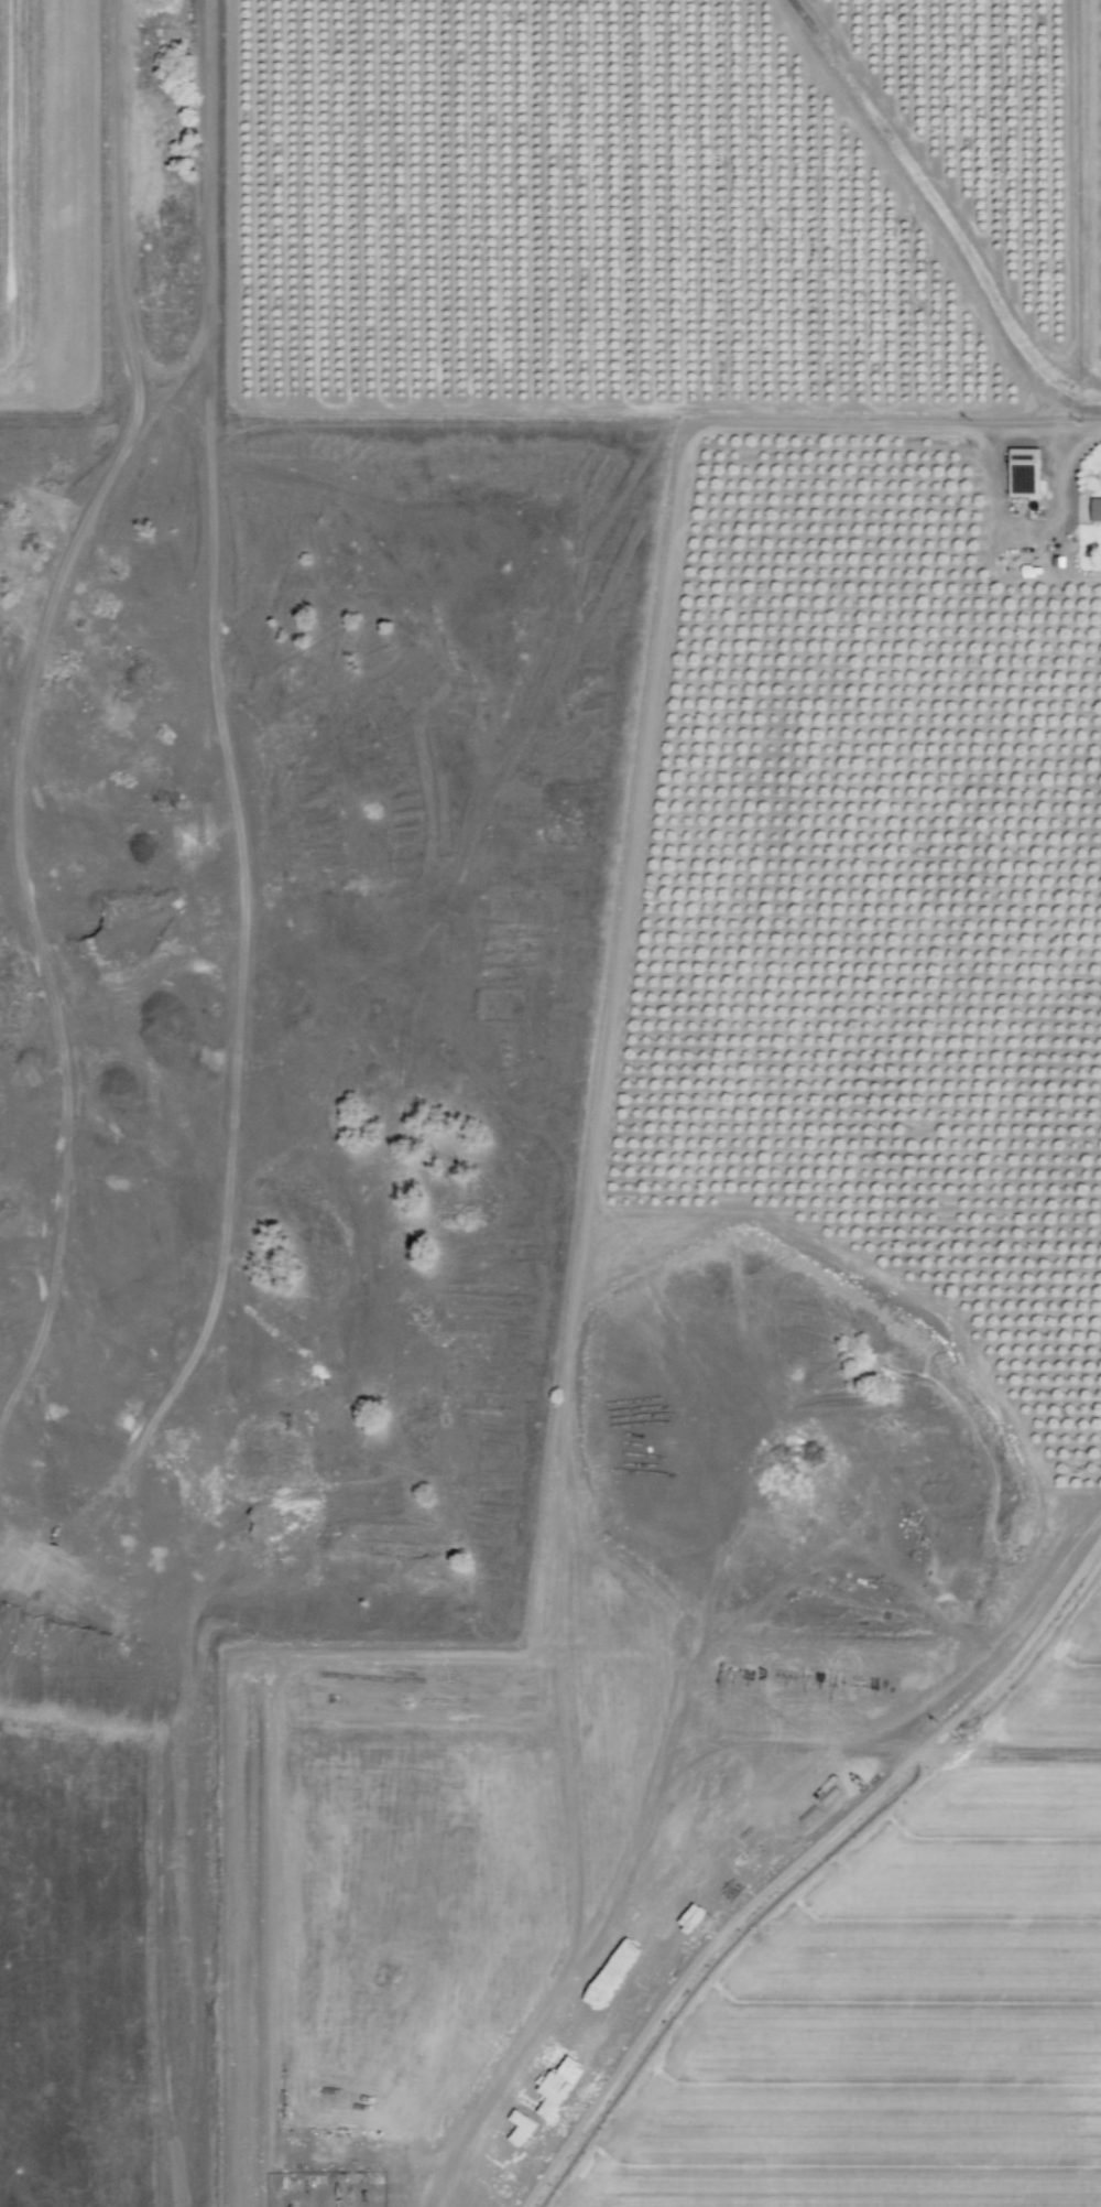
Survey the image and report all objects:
crop: (1089, 204)
building: (1097, 509)
quarry: (271, 1136)
crop: (906, 1997)

